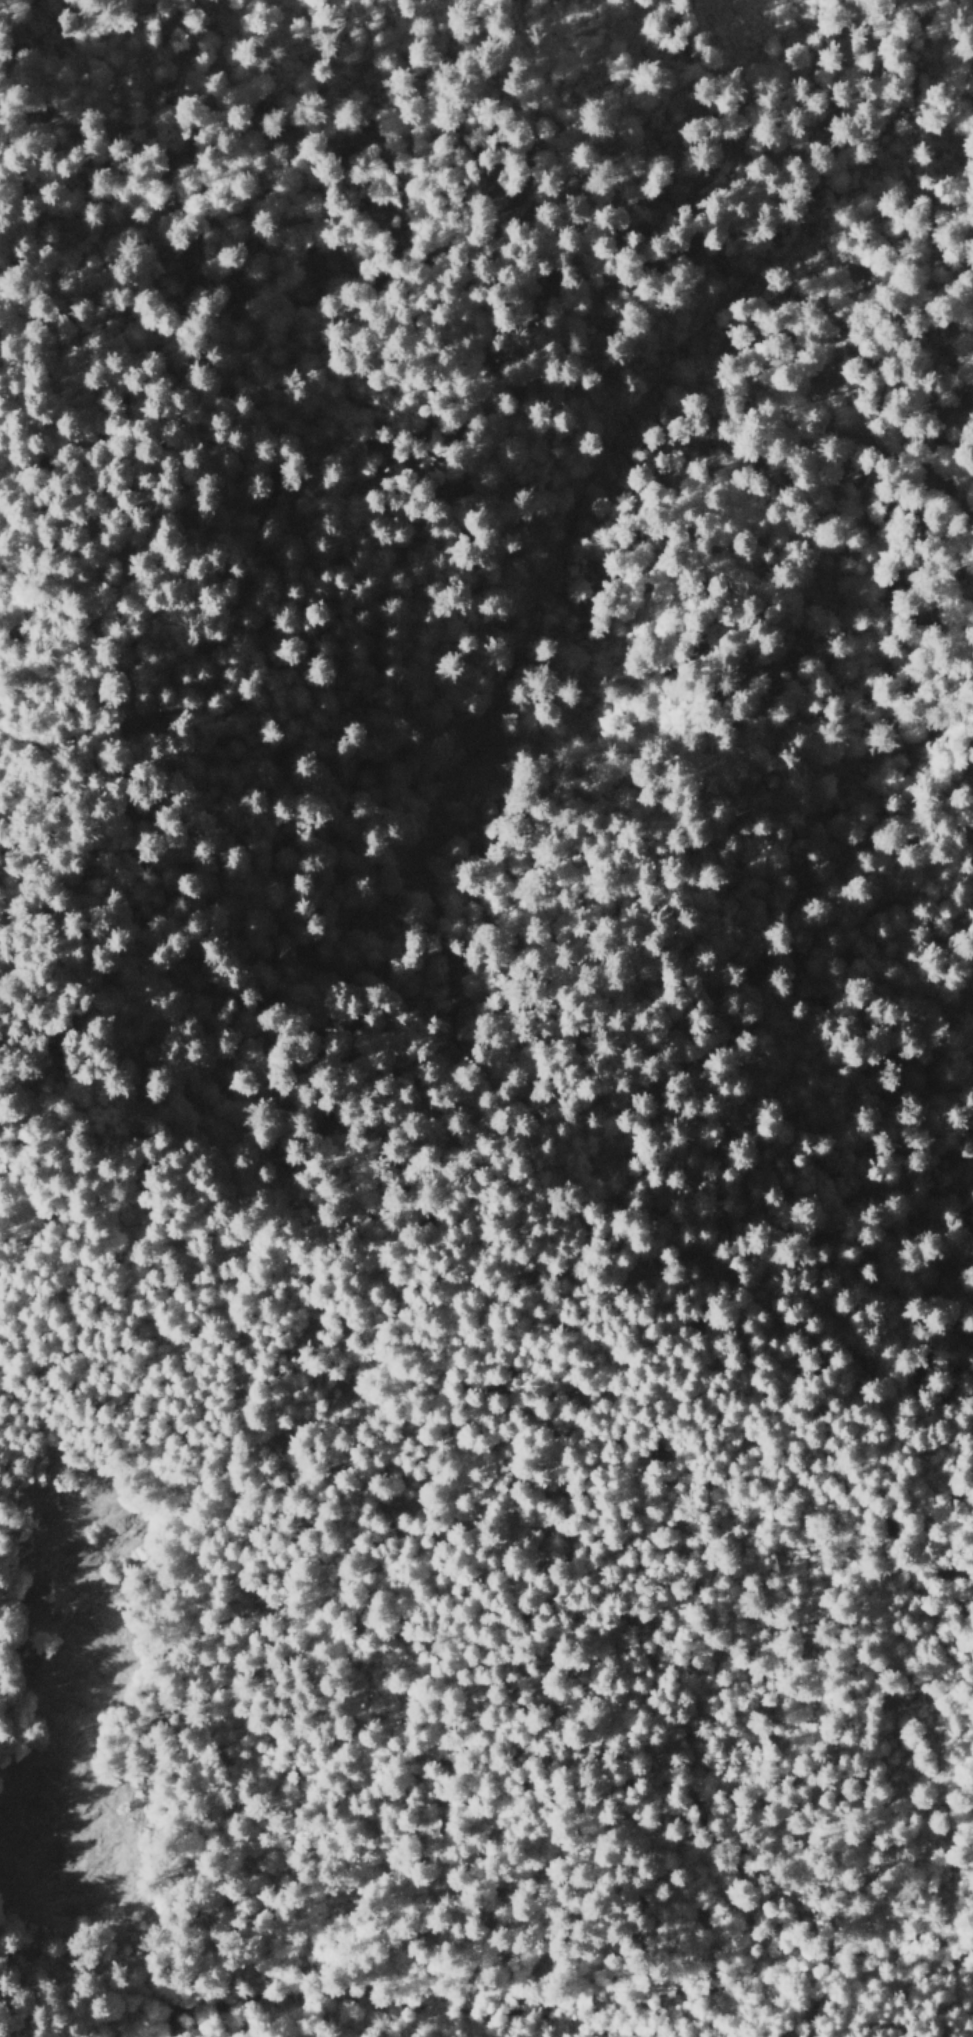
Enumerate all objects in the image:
road: (970, 905)
road: (705, 1490)

